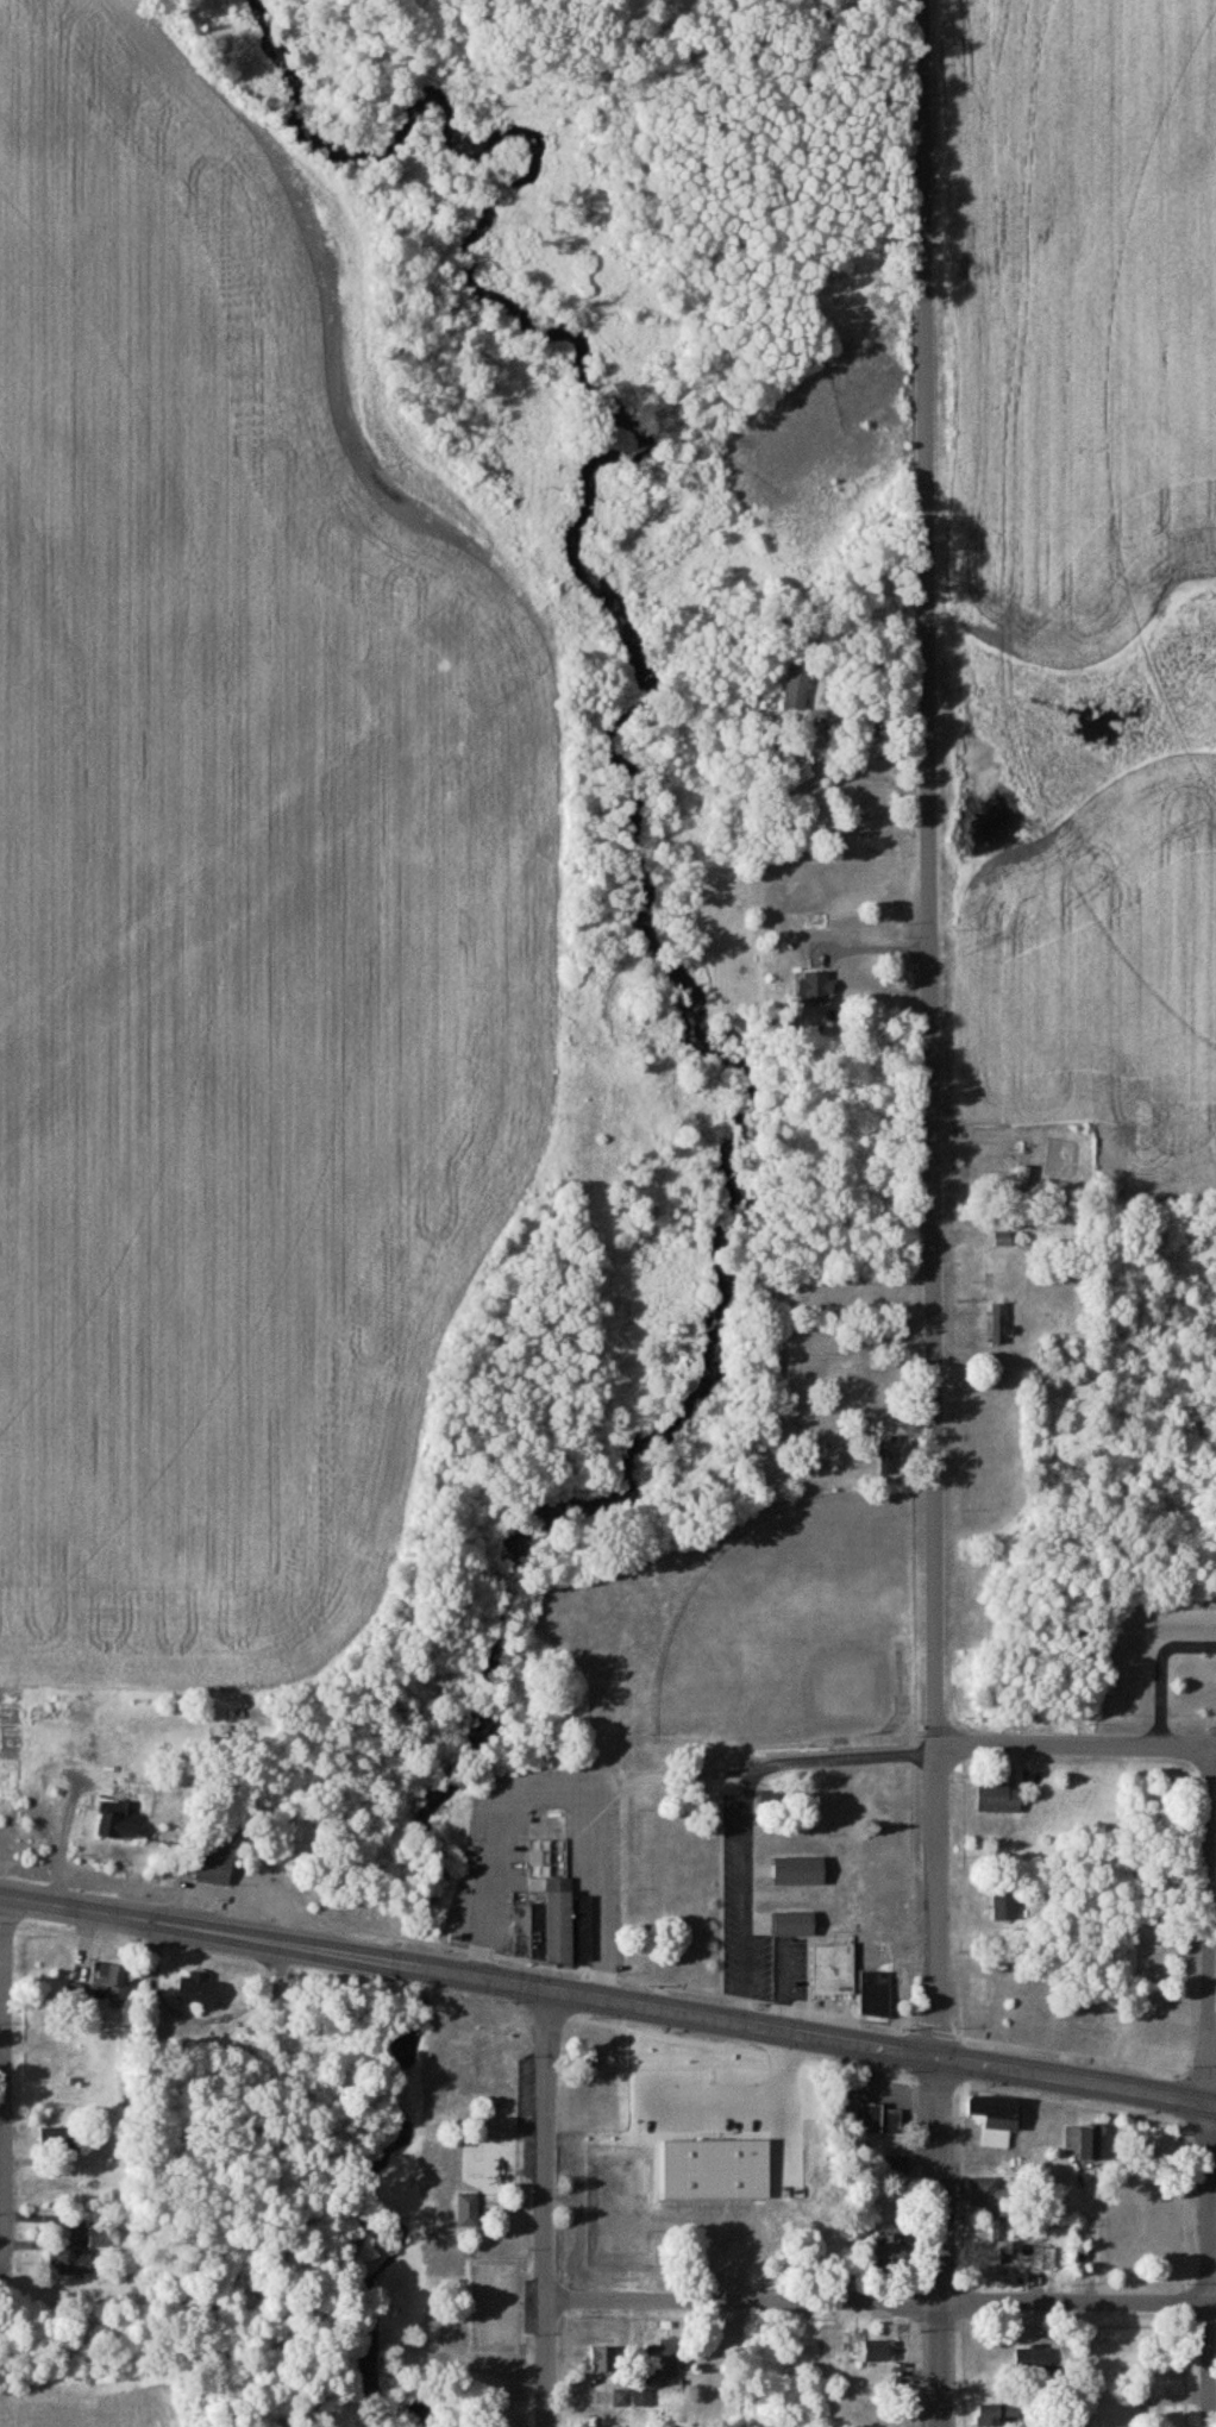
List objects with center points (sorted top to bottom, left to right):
building: (800, 685)
road: (867, 715)
road: (872, 948)
road: (935, 1027)
building: (1004, 1241)
building: (999, 1324)
park: (795, 1630)
road: (985, 1741)
road: (564, 1793)
building: (1001, 1799)
building: (120, 1823)
building: (218, 1865)
building: (801, 1873)
road: (747, 1893)
building: (1007, 1907)
building: (568, 1923)
building: (796, 1925)
building: (528, 1933)
building: (638, 1964)
building: (836, 1969)
building: (111, 1982)
building: (199, 1990)
building: (877, 1994)
building: (77, 1995)
road: (608, 1996)
road: (10, 2081)
road: (1210, 2084)
road: (763, 2094)
parking lot: (723, 2107)
building: (882, 2118)
building: (997, 2118)
building: (1085, 2139)
building: (63, 2140)
building: (715, 2166)
building: (895, 2168)
park: (474, 2194)
building: (991, 2194)
road: (549, 2207)
building: (470, 2210)
building: (623, 2220)
road: (1092, 2231)
road: (936, 2240)
building: (994, 2245)
building: (892, 2247)
building: (1042, 2257)
building: (1083, 2258)
building: (77, 2260)
road: (882, 2300)
building: (883, 2350)
building: (1038, 2359)
building: (603, 2362)
road: (747, 2363)
building: (666, 2366)
building: (883, 2413)
building: (998, 2415)

